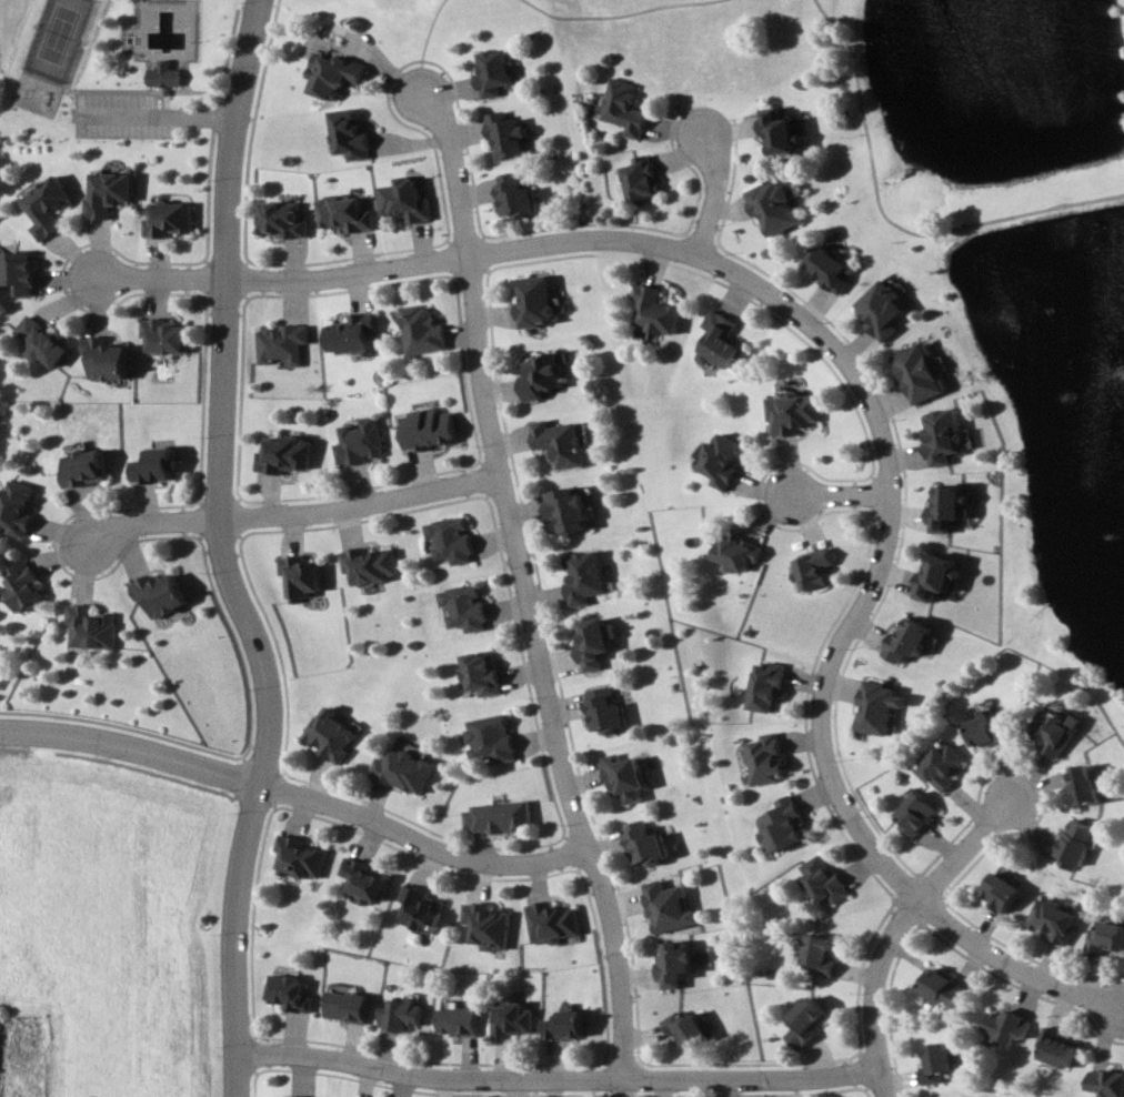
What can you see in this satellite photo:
road: (620, 16)
road: (426, 46)
building: (496, 72)
building: (337, 73)
building: (168, 74)
building: (623, 108)
road: (162, 111)
building: (779, 131)
building: (351, 133)
building: (509, 135)
building: (111, 192)
road: (719, 192)
building: (519, 194)
building: (409, 200)
building: (773, 205)
building: (50, 207)
building: (348, 213)
building: (171, 219)
building: (283, 219)
road: (889, 221)
road: (403, 266)
building: (830, 266)
building: (24, 271)
building: (538, 302)
building: (884, 306)
building: (655, 310)
building: (426, 330)
building: (355, 334)
building: (168, 335)
building: (48, 341)
building: (721, 341)
building: (284, 343)
building: (110, 359)
building: (922, 372)
building: (544, 374)
building: (793, 413)
building: (432, 429)
building: (945, 435)
building: (363, 442)
building: (563, 443)
building: (290, 454)
building: (721, 460)
building: (92, 469)
road: (842, 494)
building: (24, 507)
building: (949, 507)
building: (571, 510)
road: (293, 515)
building: (454, 539)
building: (736, 552)
road: (232, 553)
road: (886, 556)
building: (374, 564)
building: (813, 568)
building: (307, 576)
building: (586, 577)
building: (939, 577)
building: (32, 585)
road: (529, 585)
building: (169, 594)
building: (469, 607)
building: (99, 627)
building: (599, 641)
building: (910, 641)
building: (486, 672)
building: (769, 686)
building: (882, 706)
building: (611, 709)
building: (991, 729)
building: (1057, 731)
building: (339, 735)
building: (495, 738)
building: (767, 759)
building: (946, 764)
building: (411, 766)
building: (629, 776)
building: (1090, 785)
road: (298, 792)
building: (921, 814)
building: (501, 816)
building: (785, 824)
building: (649, 843)
building: (1077, 843)
road: (971, 849)
building: (308, 858)
building: (371, 879)
building: (825, 879)
building: (1002, 892)
building: (671, 907)
building: (424, 908)
building: (1054, 919)
building: (555, 922)
building: (491, 925)
building: (1106, 936)
building: (821, 954)
building: (680, 963)
road: (1018, 964)
building: (944, 987)
building: (293, 993)
road: (877, 994)
building: (350, 1004)
building: (404, 1015)
building: (516, 1018)
building: (463, 1020)
building: (809, 1021)
building: (572, 1025)
building: (1007, 1026)
building: (690, 1027)
building: (937, 1063)
road: (556, 1078)
building: (1107, 1081)
building: (302, 1096)

